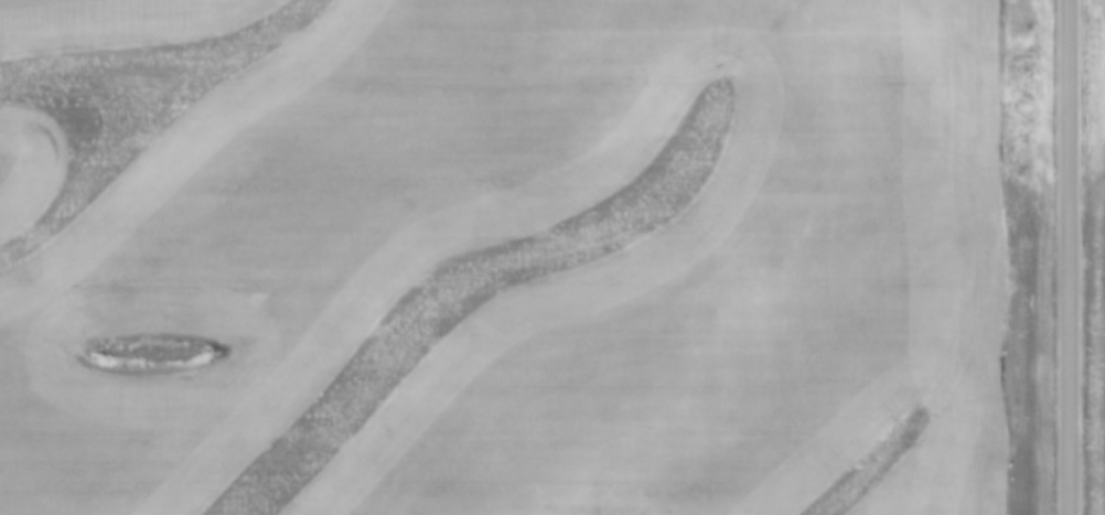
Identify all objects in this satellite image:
road: (1068, 257)

